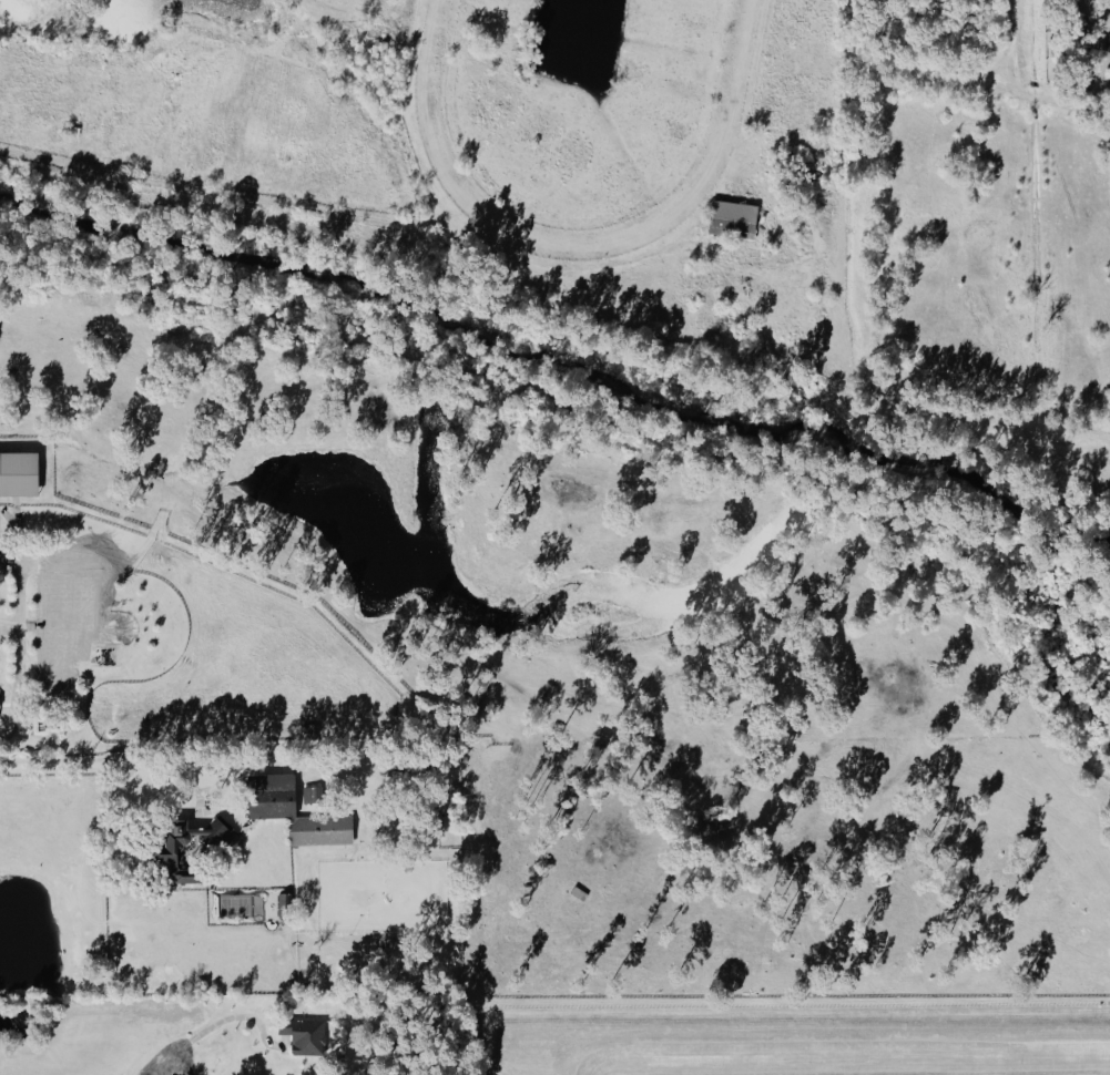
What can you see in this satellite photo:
track: (722, 127)
building: (735, 219)
river: (554, 367)
building: (19, 474)
road: (18, 618)
building: (54, 627)
road: (9, 628)
building: (104, 657)
road: (147, 770)
building: (315, 794)
building: (273, 807)
building: (170, 858)
road: (235, 1016)
building: (306, 1035)
road: (179, 1058)

